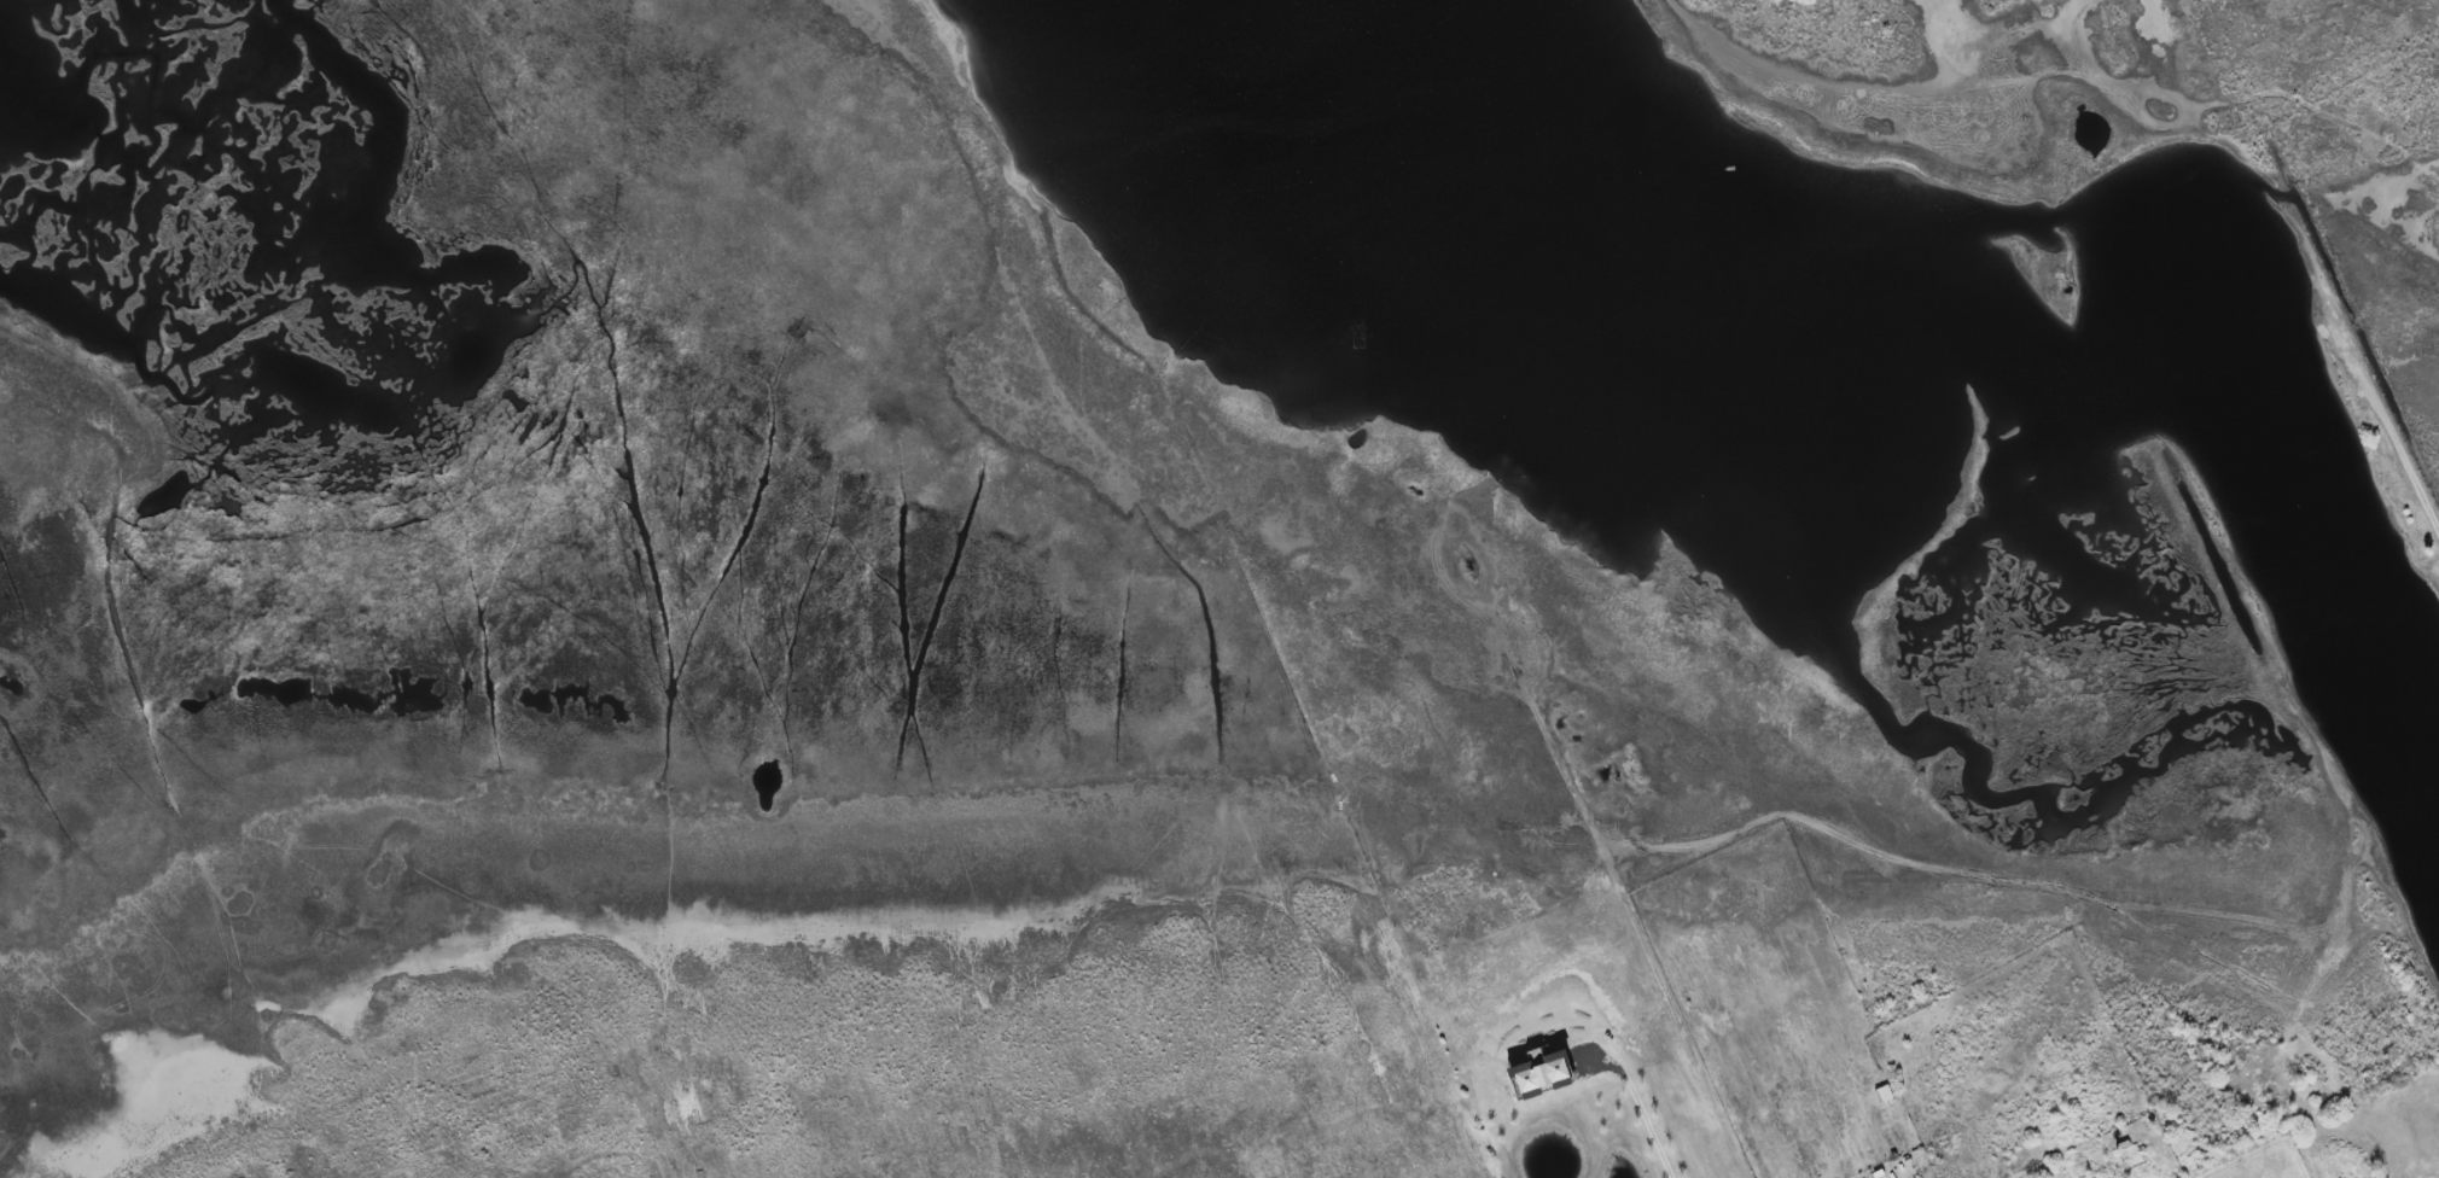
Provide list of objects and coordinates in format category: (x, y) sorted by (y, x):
building: (1542, 1075)
road: (1640, 1107)

